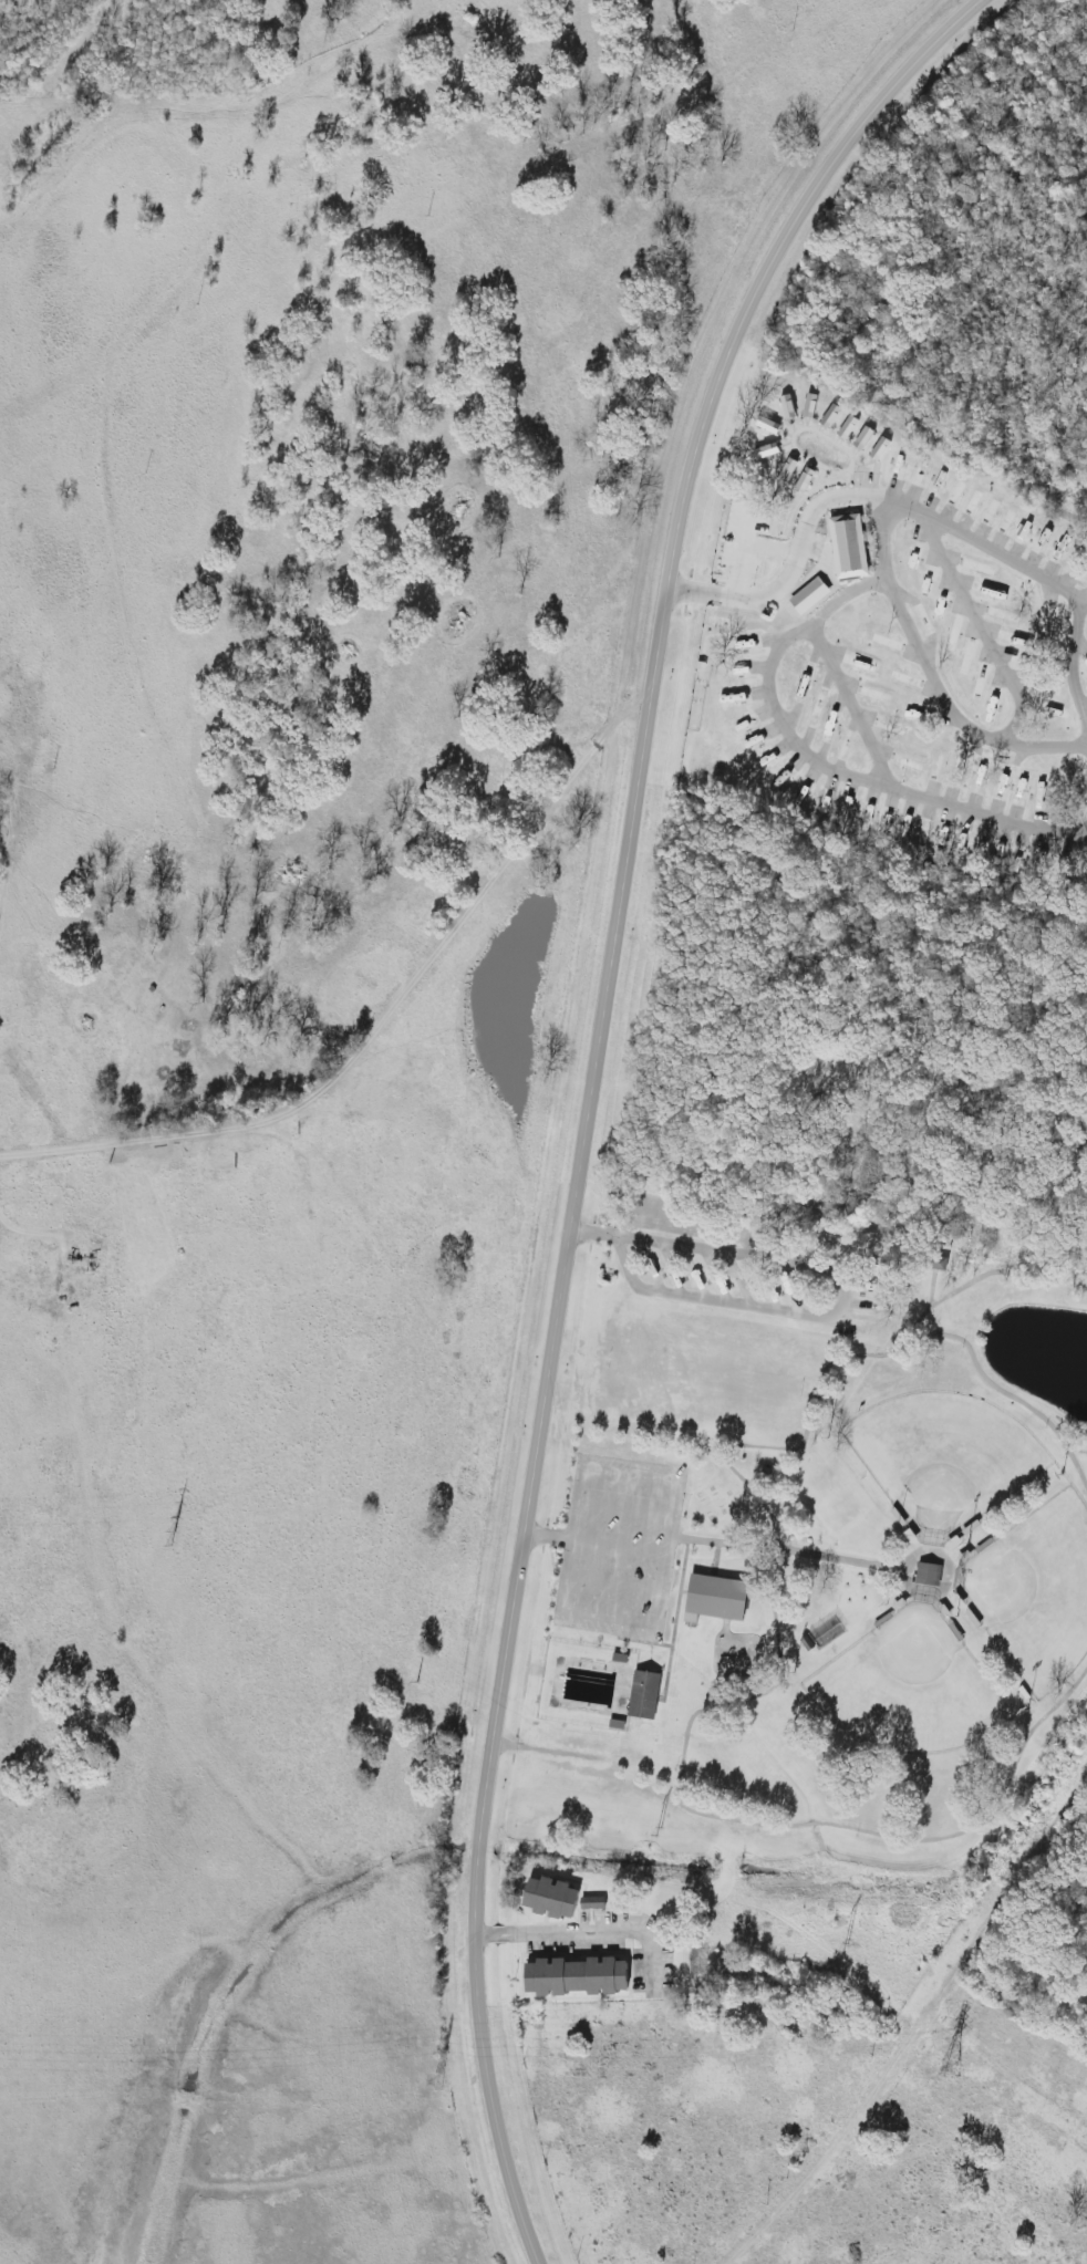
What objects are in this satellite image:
building: (808, 406)
building: (828, 416)
building: (846, 427)
building: (861, 438)
road: (697, 443)
building: (878, 449)
building: (787, 470)
building: (804, 480)
building: (848, 547)
road: (746, 551)
road: (788, 573)
building: (809, 598)
road: (980, 632)
road: (784, 643)
road: (1074, 665)
road: (850, 705)
road: (948, 709)
road: (380, 1029)
road: (840, 1292)
power tower: (170, 1534)
building: (928, 1575)
building: (714, 1599)
road: (514, 1617)
power tower: (415, 1683)
building: (643, 1695)
power tower: (656, 1832)
building: (550, 1899)
building: (593, 1904)
road: (582, 1928)
power tower: (843, 1948)
building: (576, 1977)
road: (915, 2029)
power tower: (964, 2074)
power tower: (436, 2086)

